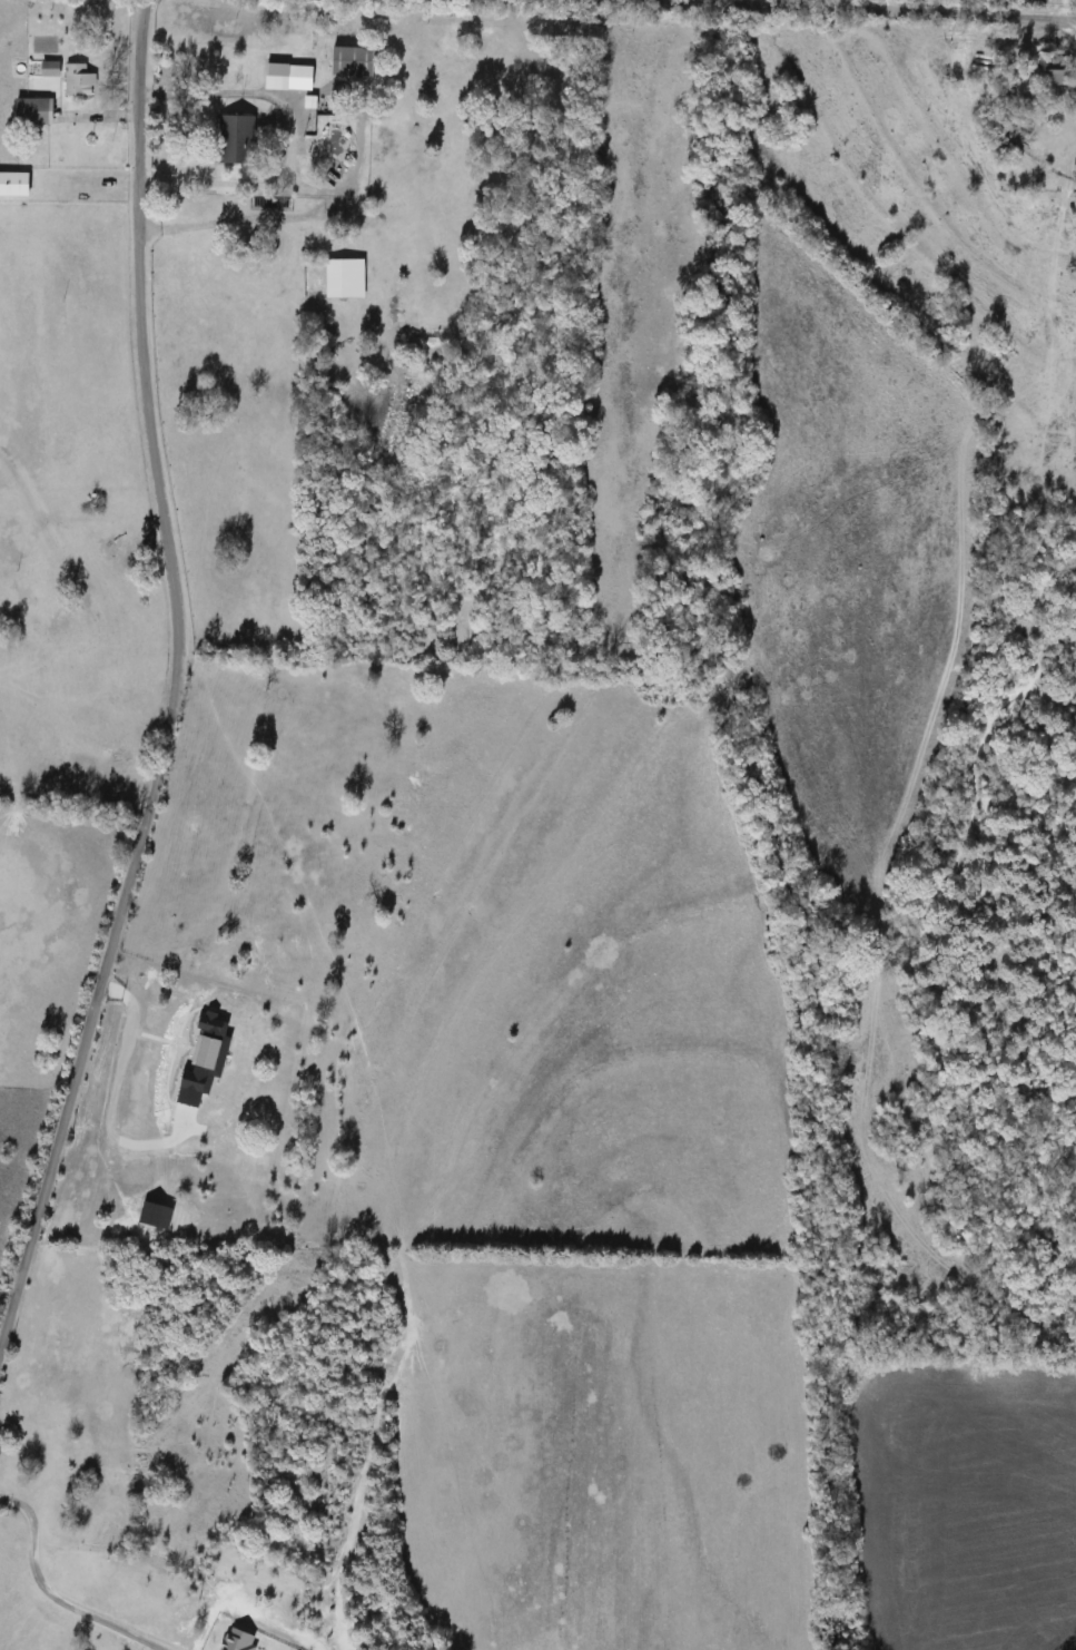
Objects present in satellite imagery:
road: (899, 8)
building: (349, 61)
building: (48, 69)
building: (1048, 72)
building: (286, 77)
building: (77, 81)
road: (249, 92)
building: (28, 112)
building: (233, 138)
building: (1073, 175)
road: (237, 180)
building: (12, 184)
road: (275, 216)
building: (338, 276)
building: (1074, 282)
road: (175, 680)
road: (971, 772)
road: (52, 1592)

